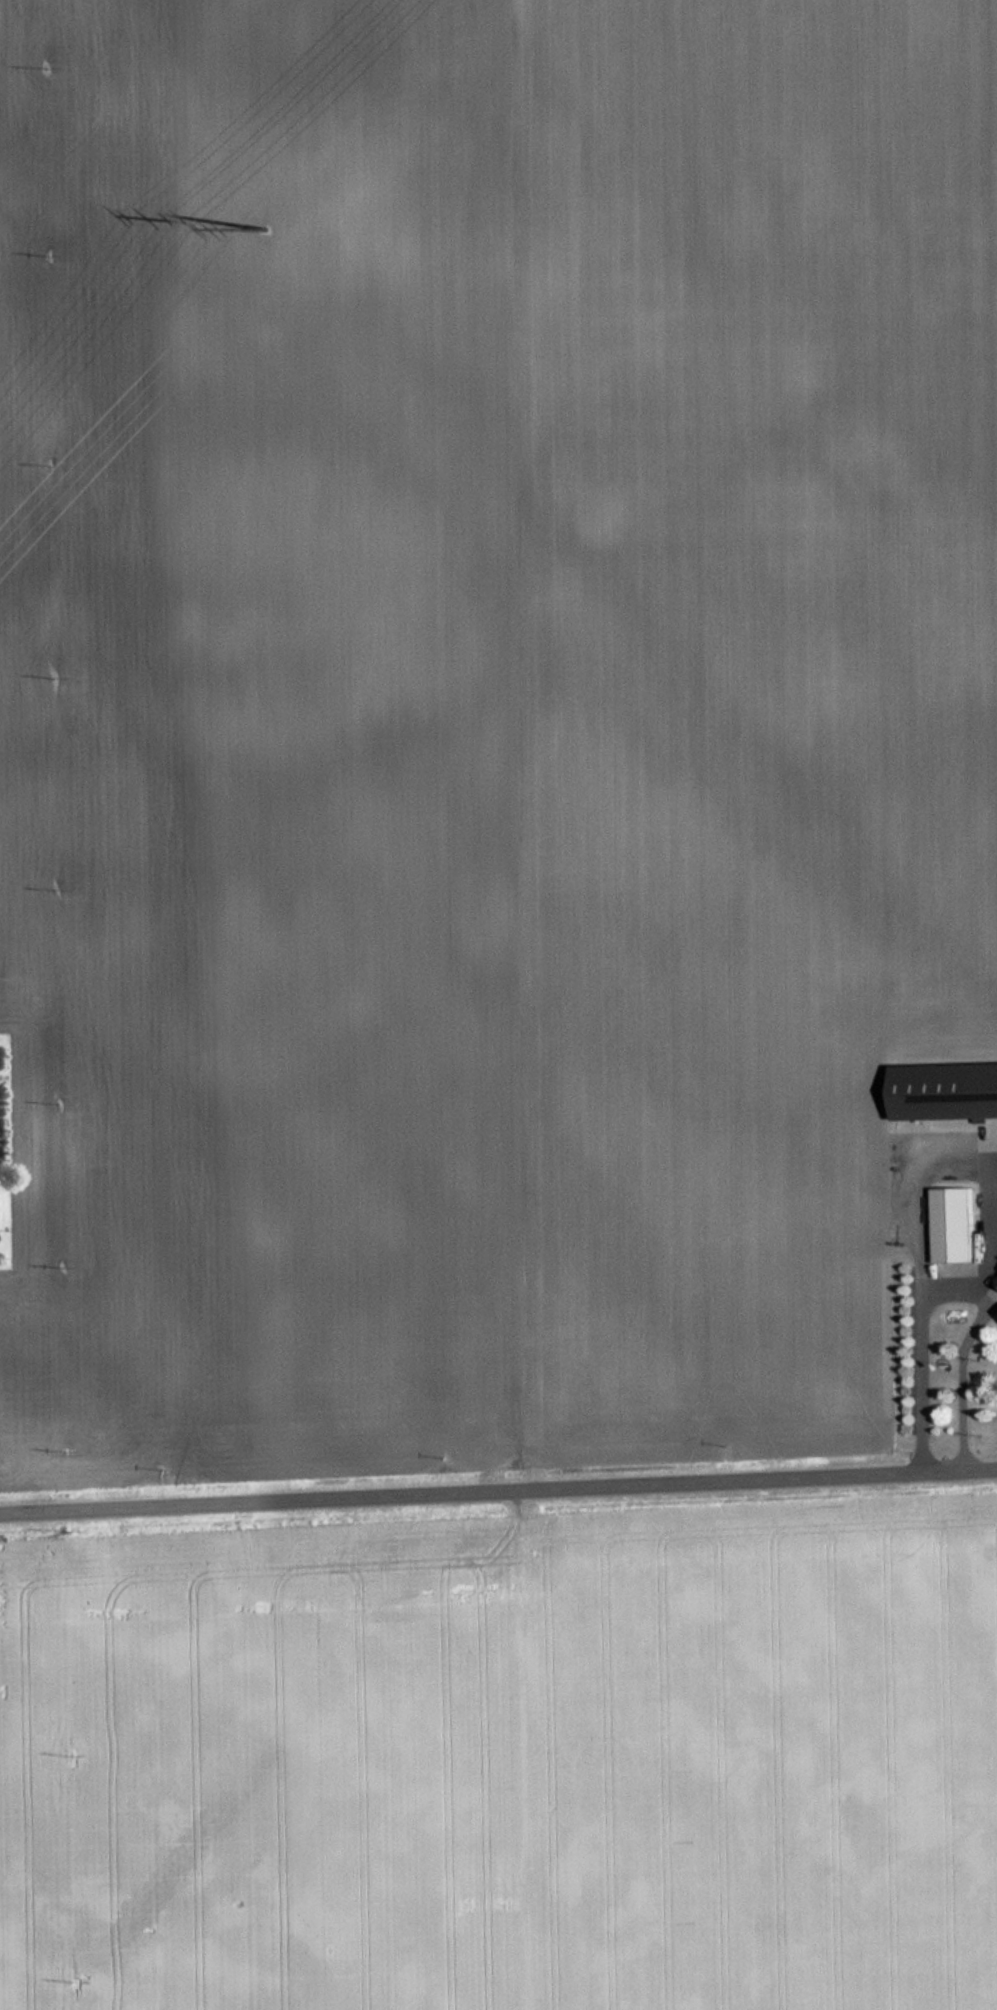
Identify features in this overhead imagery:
power tower: (260, 236)
building: (951, 1097)
building: (956, 1226)
road: (498, 1490)

